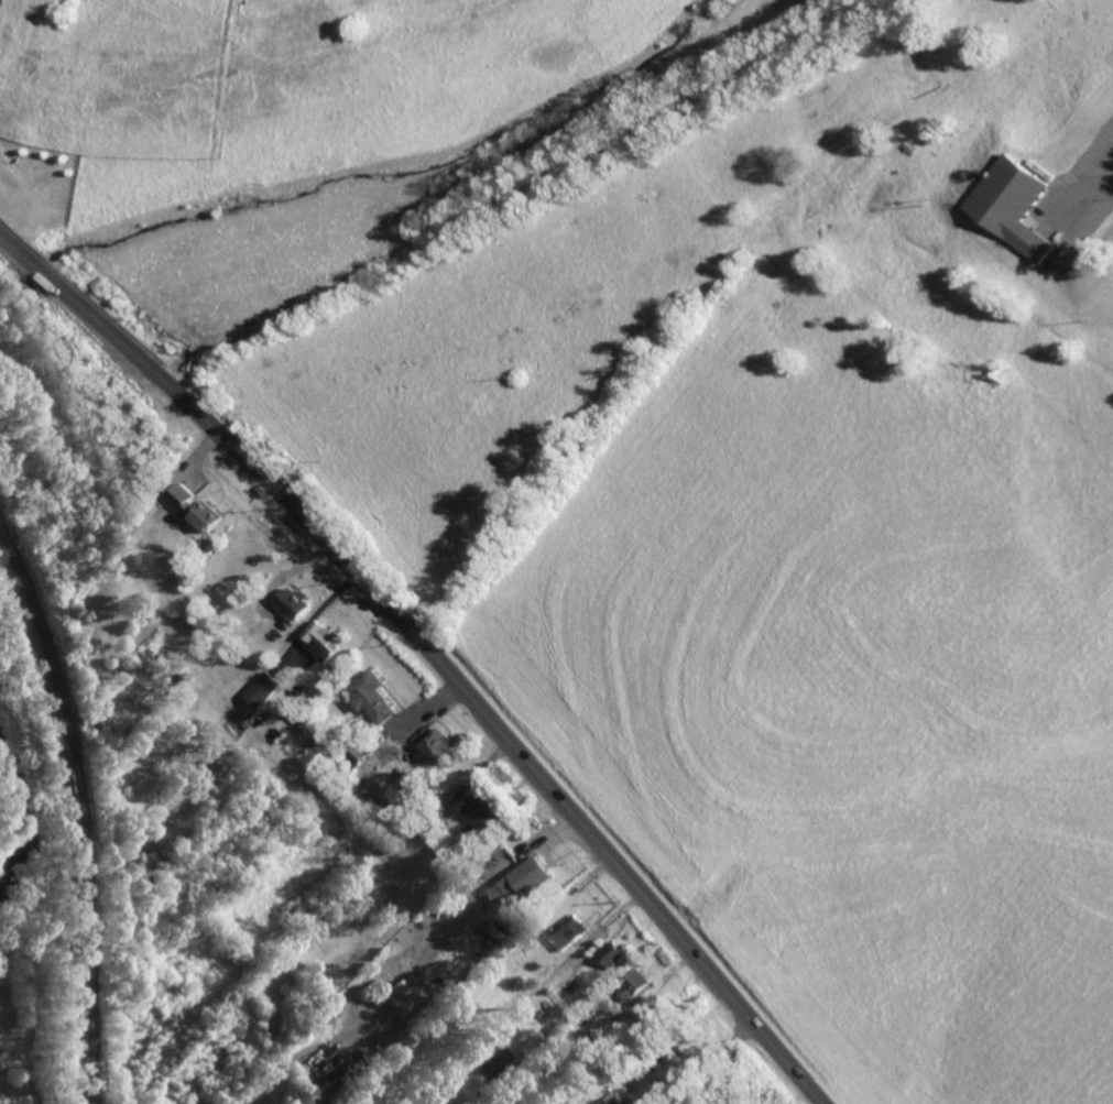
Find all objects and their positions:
building: (1016, 206)
building: (200, 503)
building: (140, 547)
building: (298, 601)
building: (325, 637)
road: (430, 651)
building: (172, 678)
building: (264, 688)
building: (374, 695)
building: (248, 706)
building: (437, 745)
building: (358, 751)
building: (360, 783)
building: (403, 795)
building: (484, 808)
railway: (78, 816)
building: (430, 832)
building: (159, 865)
building: (530, 875)
building: (460, 885)
building: (451, 890)
building: (569, 929)
building: (613, 953)
building: (635, 984)
building: (557, 1014)
building: (564, 1014)
building: (553, 1024)
building: (546, 1030)
building: (542, 1034)
building: (517, 1046)
road: (703, 1061)
building: (455, 1079)
building: (612, 1100)

